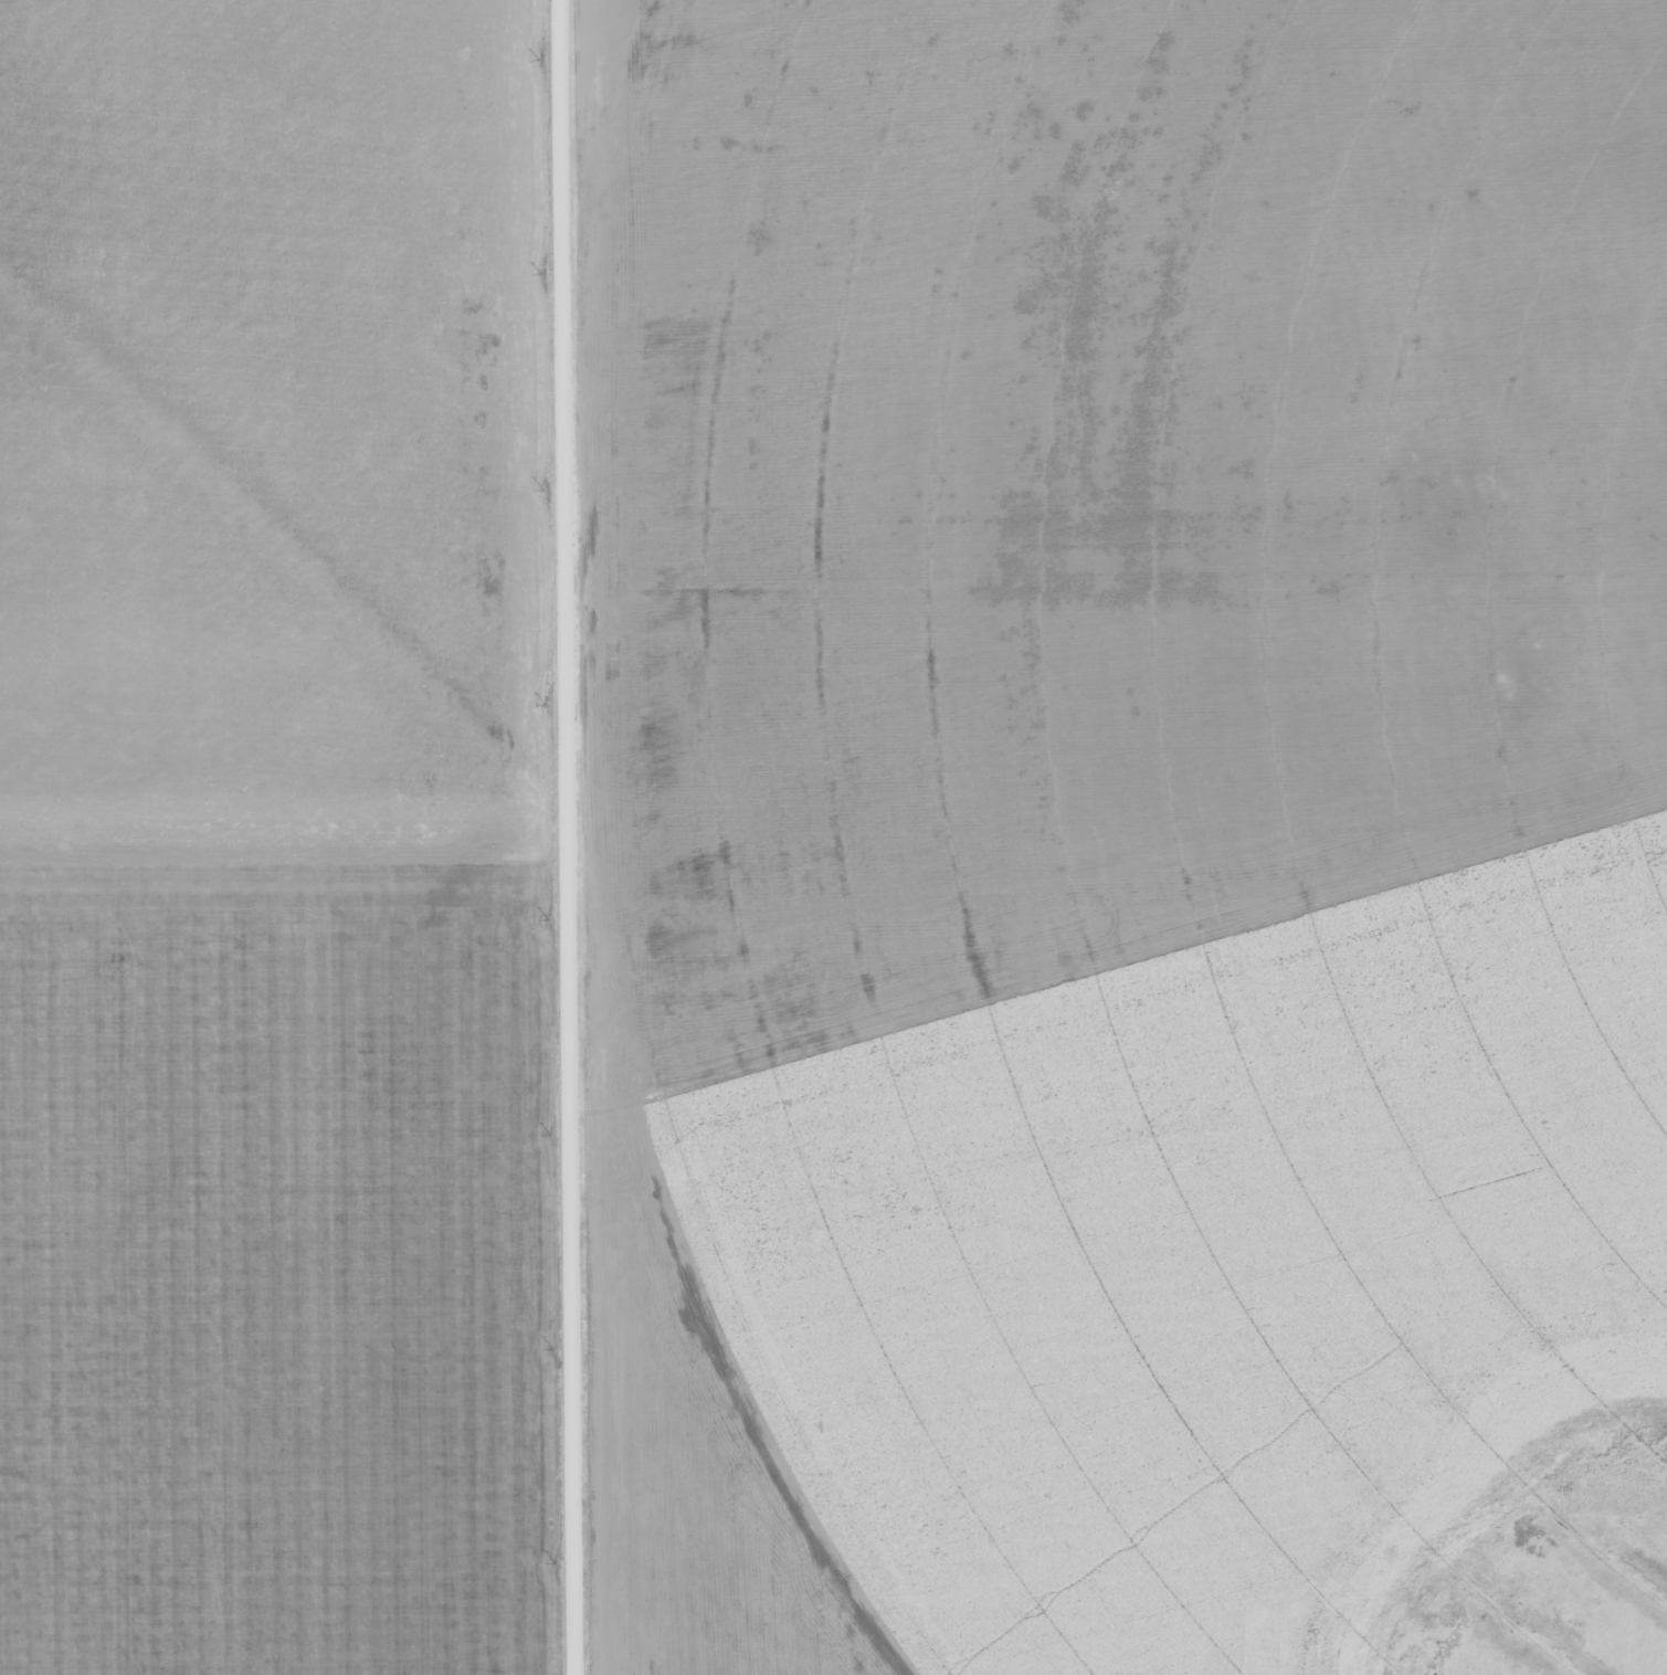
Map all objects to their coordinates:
road: (572, 837)

